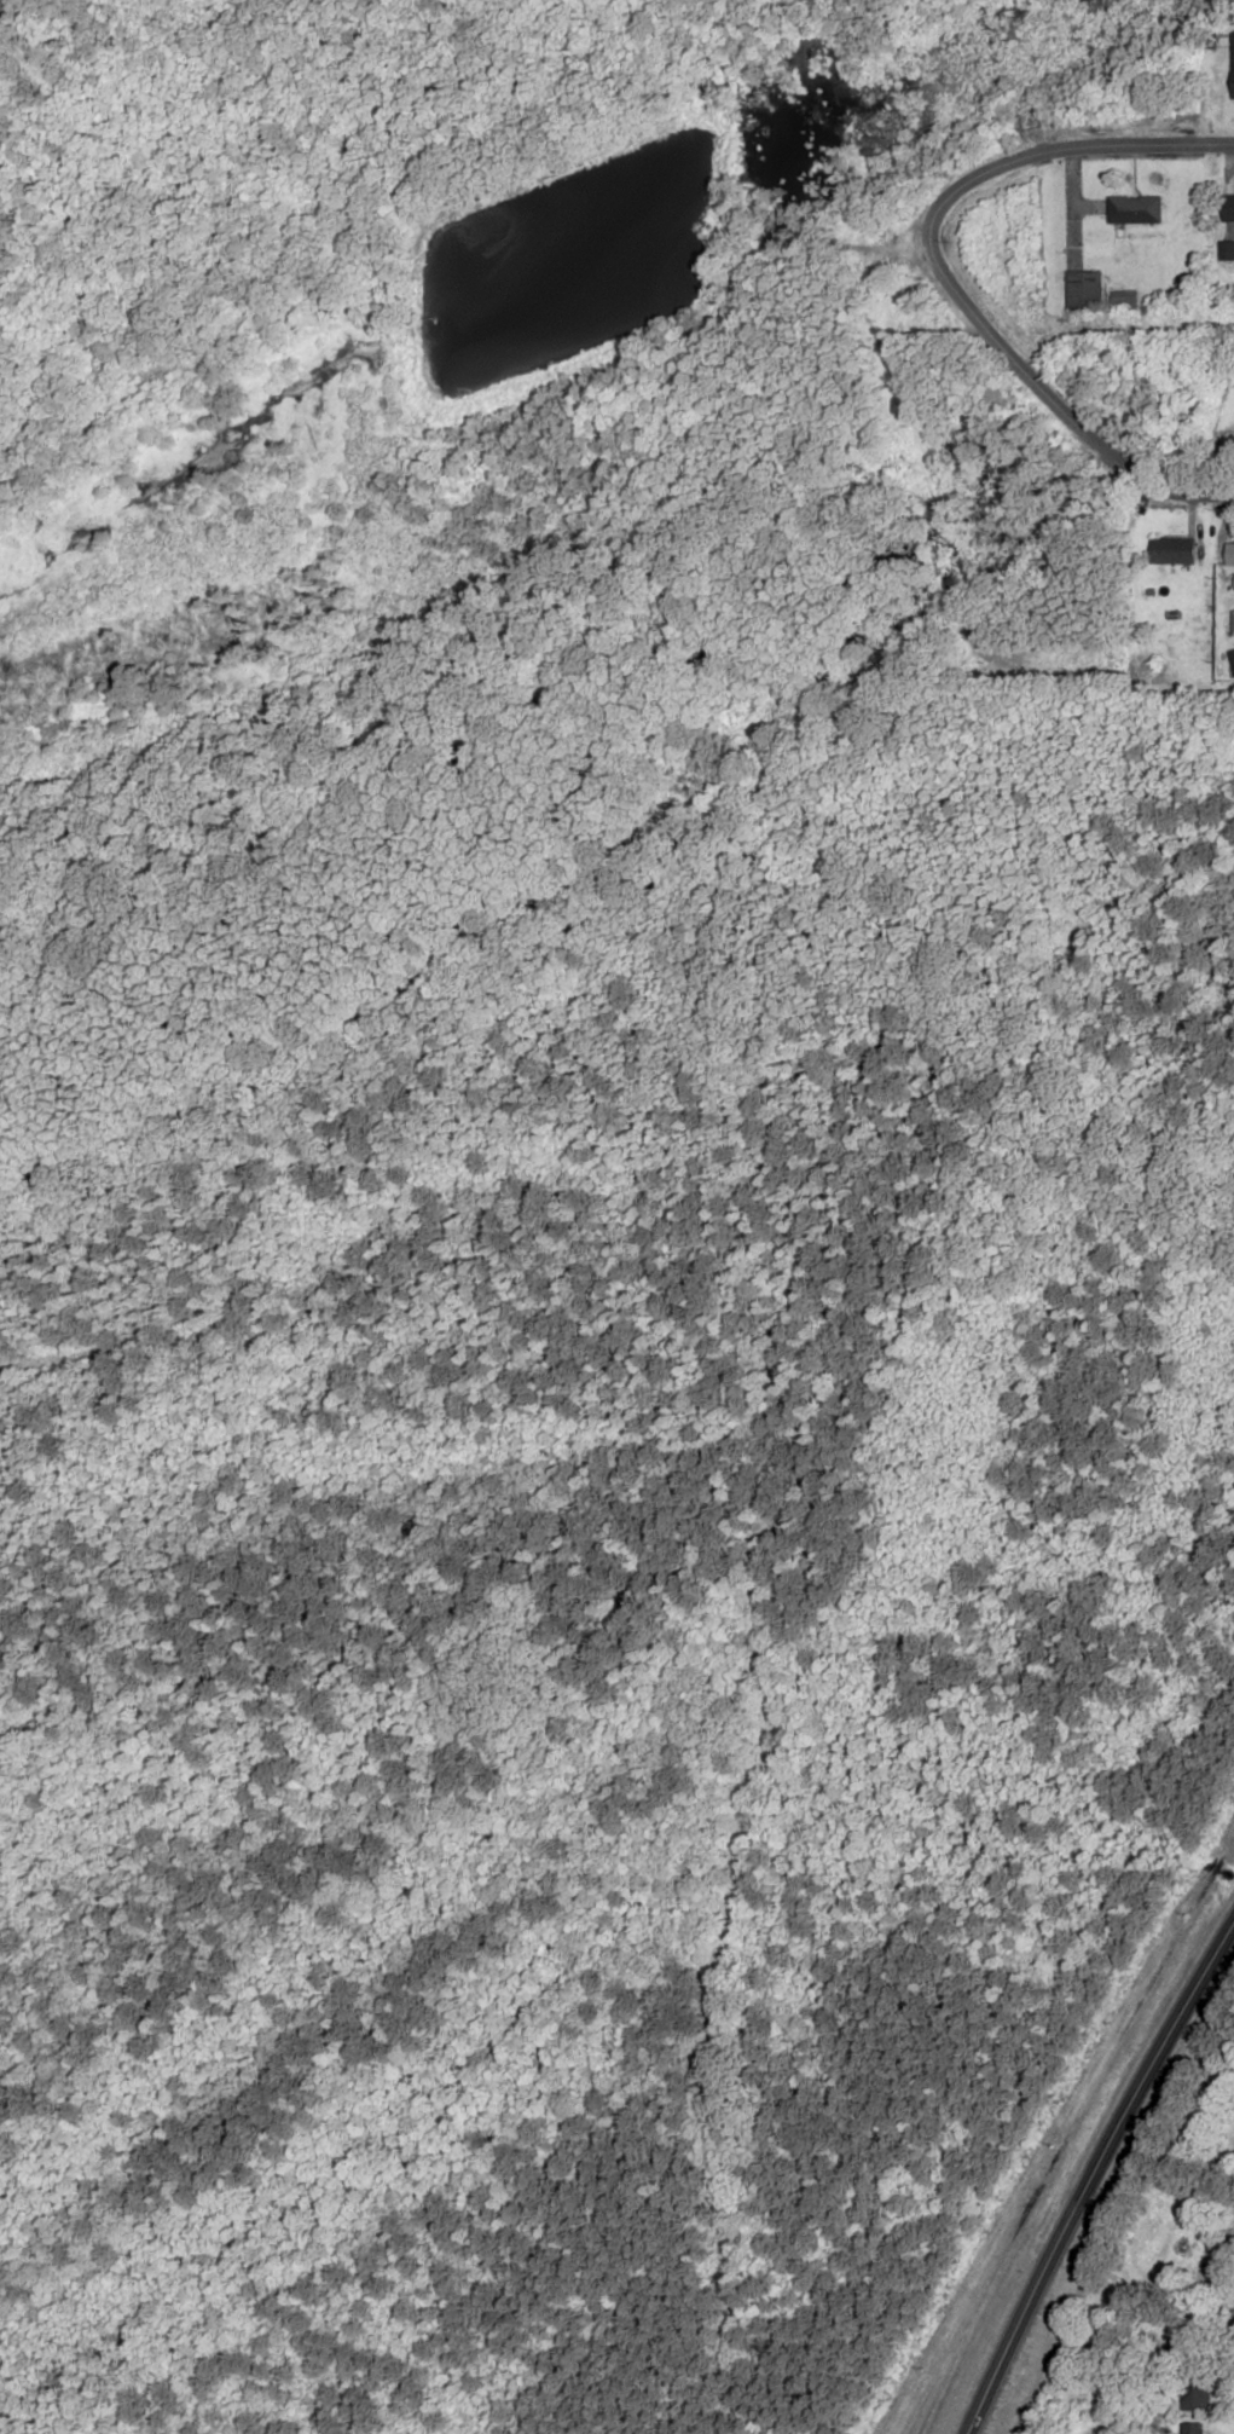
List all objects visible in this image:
building: (1232, 64)
road: (1059, 149)
building: (1228, 207)
building: (1134, 209)
road: (825, 247)
building: (1226, 250)
building: (1084, 289)
building: (1123, 300)
road: (1056, 405)
building: (1171, 551)
building: (1229, 553)
road: (1091, 2172)
road: (1198, 2195)
building: (1166, 2239)
building: (1189, 2380)
building: (1192, 2429)

